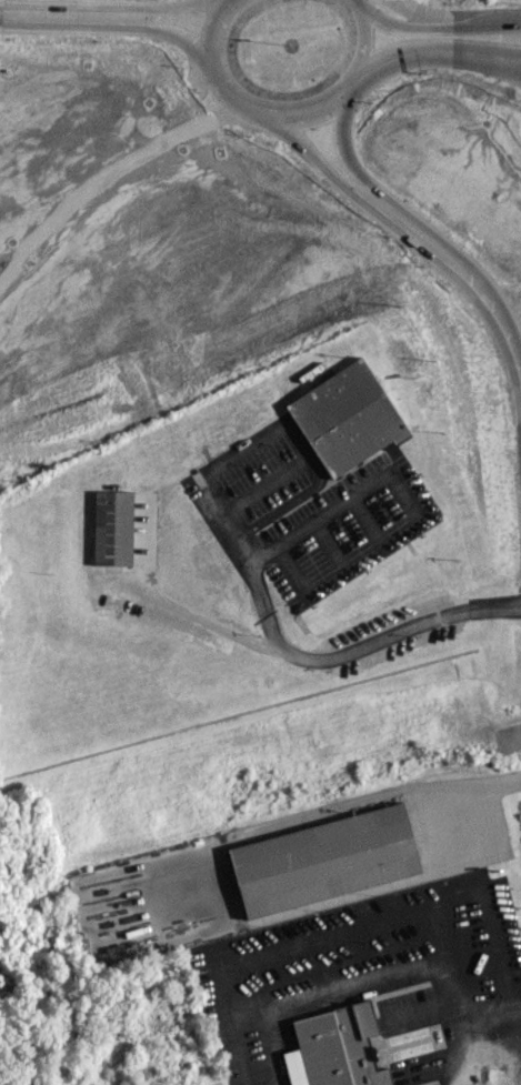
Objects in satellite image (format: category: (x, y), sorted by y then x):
road: (163, 7)
road: (56, 14)
road: (437, 21)
road: (164, 29)
road: (435, 50)
road: (511, 62)
road: (284, 114)
road: (343, 149)
road: (315, 160)
road: (477, 284)
building: (345, 416)
road: (315, 519)
building: (124, 528)
road: (311, 659)
road: (473, 784)
building: (323, 860)
road: (202, 923)
road: (341, 984)
road: (489, 1014)
road: (519, 1019)
road: (234, 1026)
building: (334, 1048)
road: (451, 1053)

